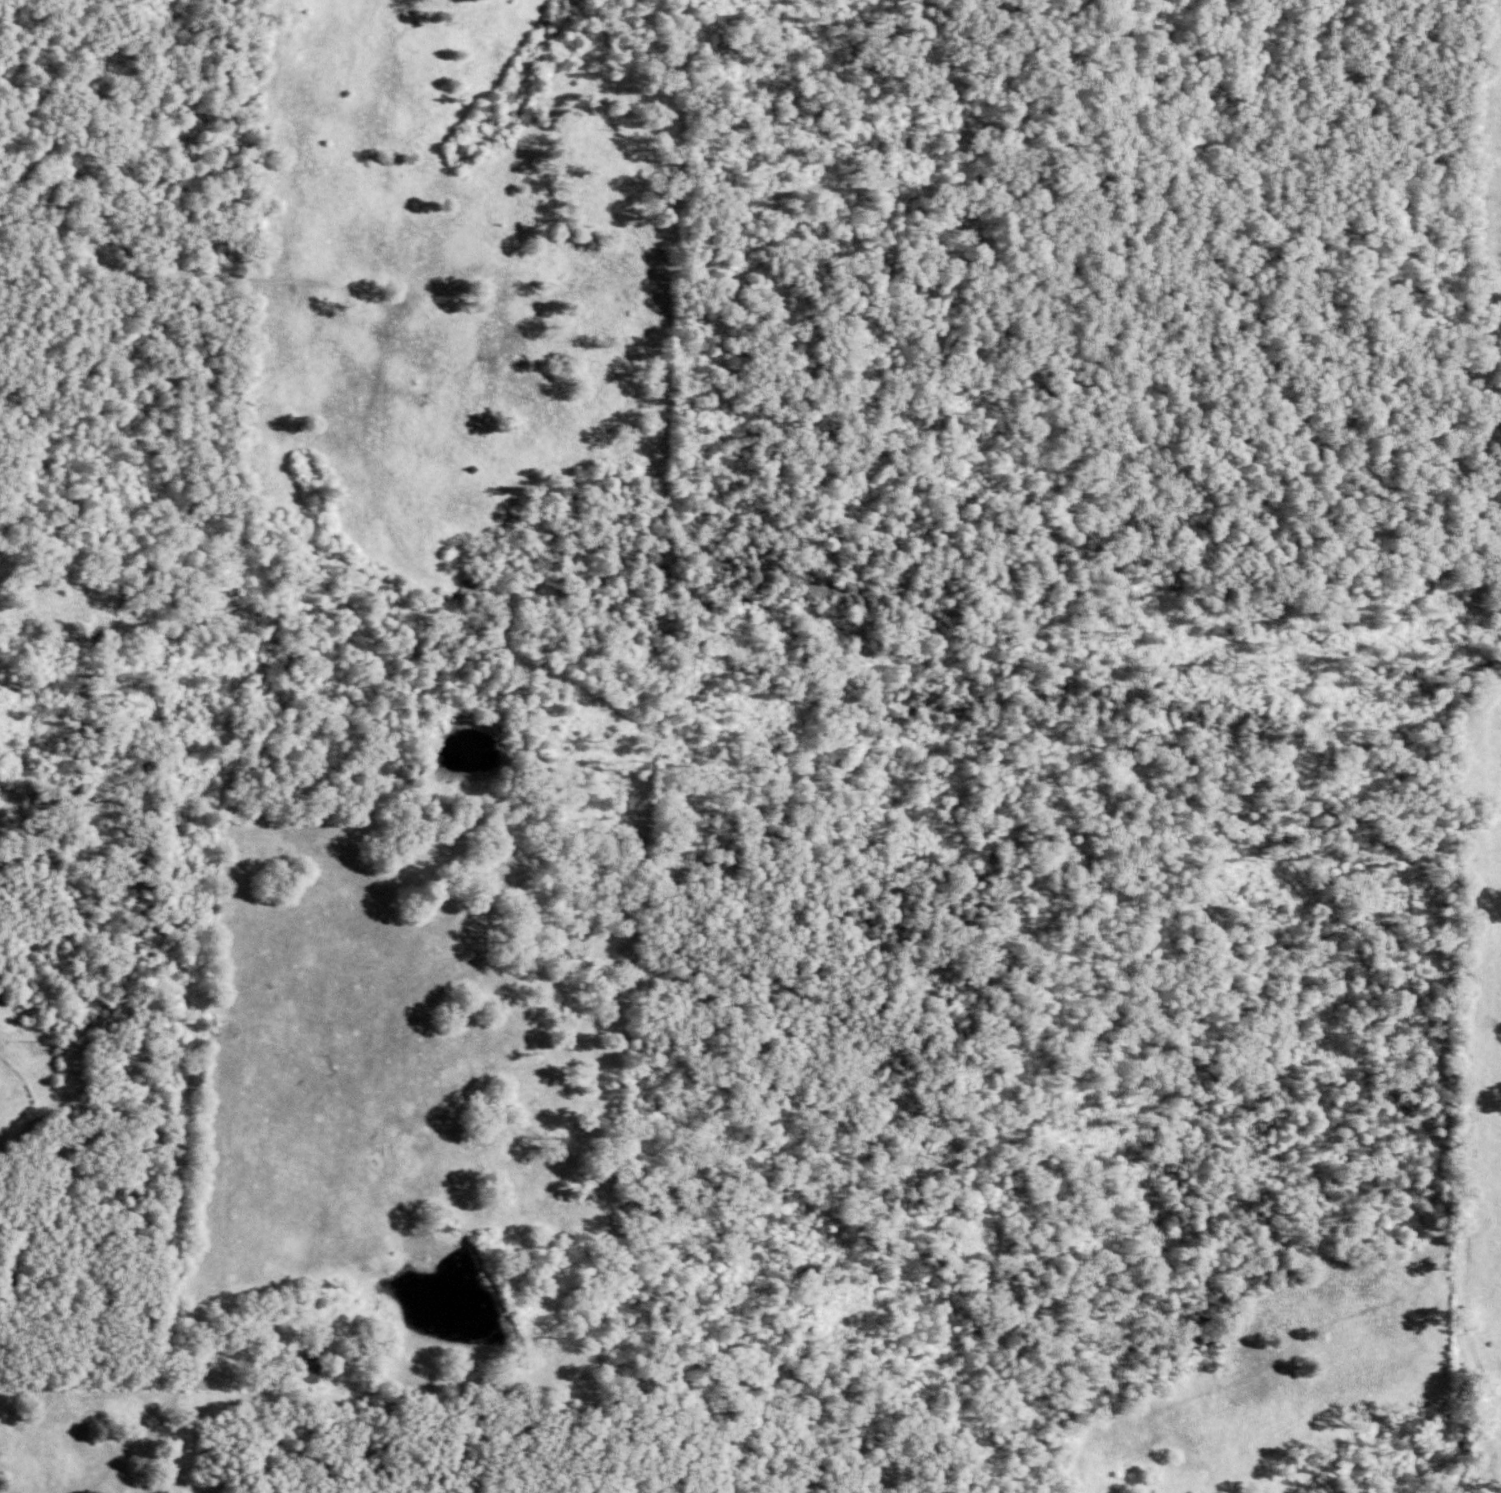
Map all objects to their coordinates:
building: (320, 1366)

